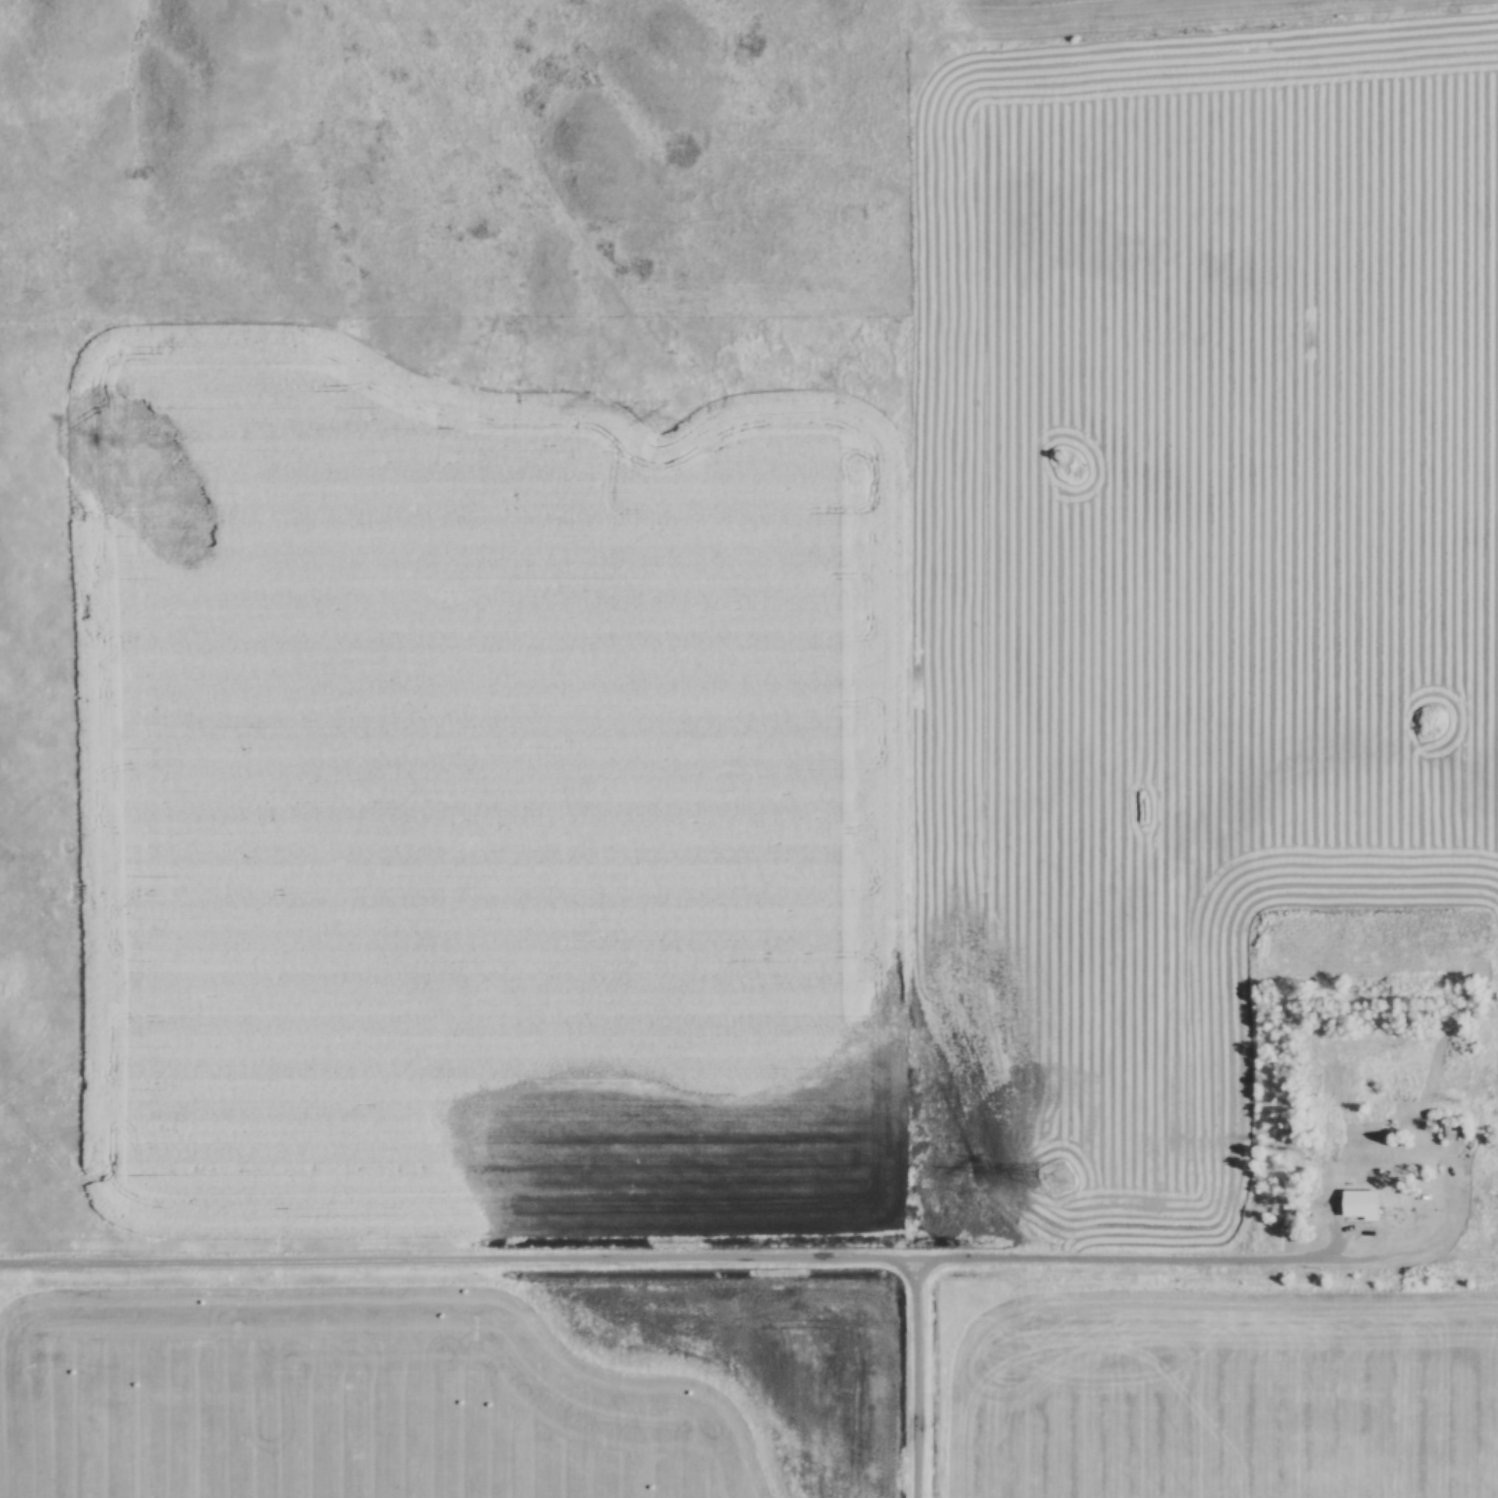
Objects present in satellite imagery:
power tower: (660, 414)
building: (1453, 1131)
power tower: (1055, 1178)
building: (1359, 1207)
road: (673, 1259)
road: (913, 1378)

